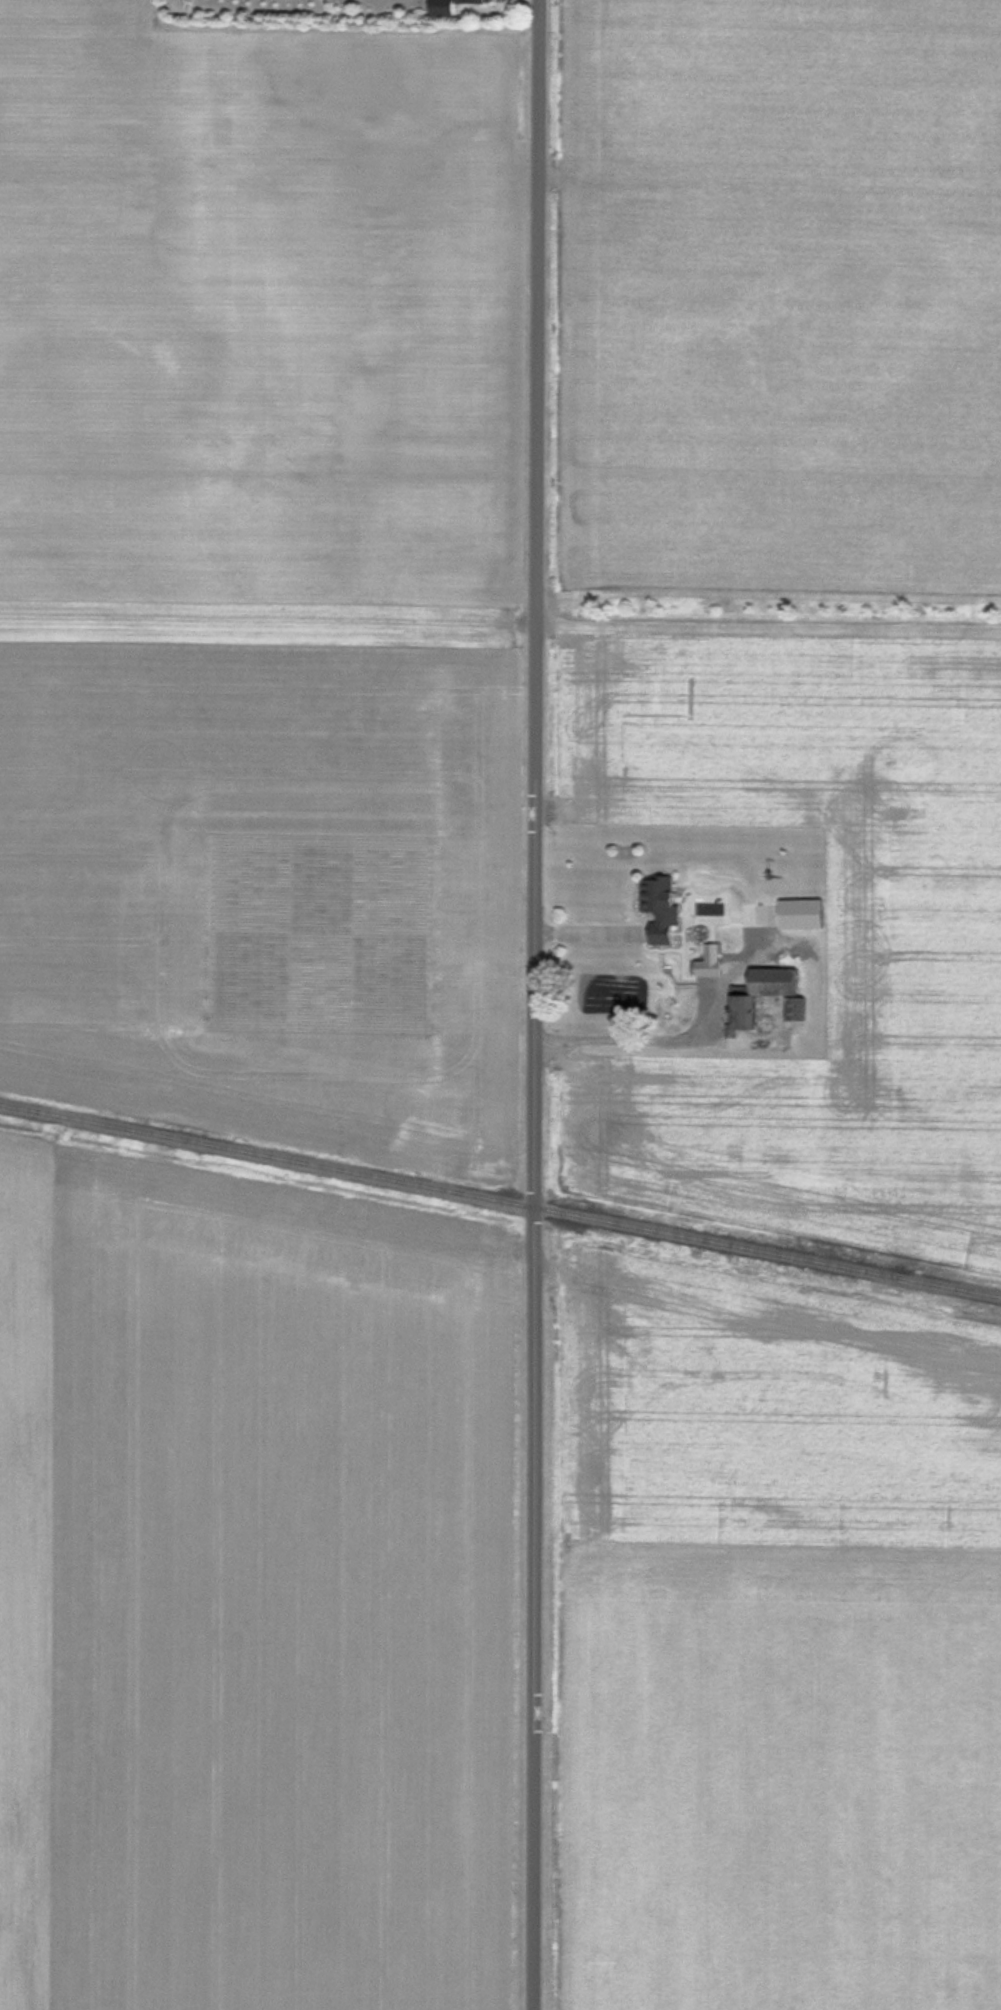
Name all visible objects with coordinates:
building: (452, 6)
building: (664, 907)
building: (806, 913)
building: (769, 995)
road: (536, 1004)
road: (684, 1039)
railway: (500, 1201)

